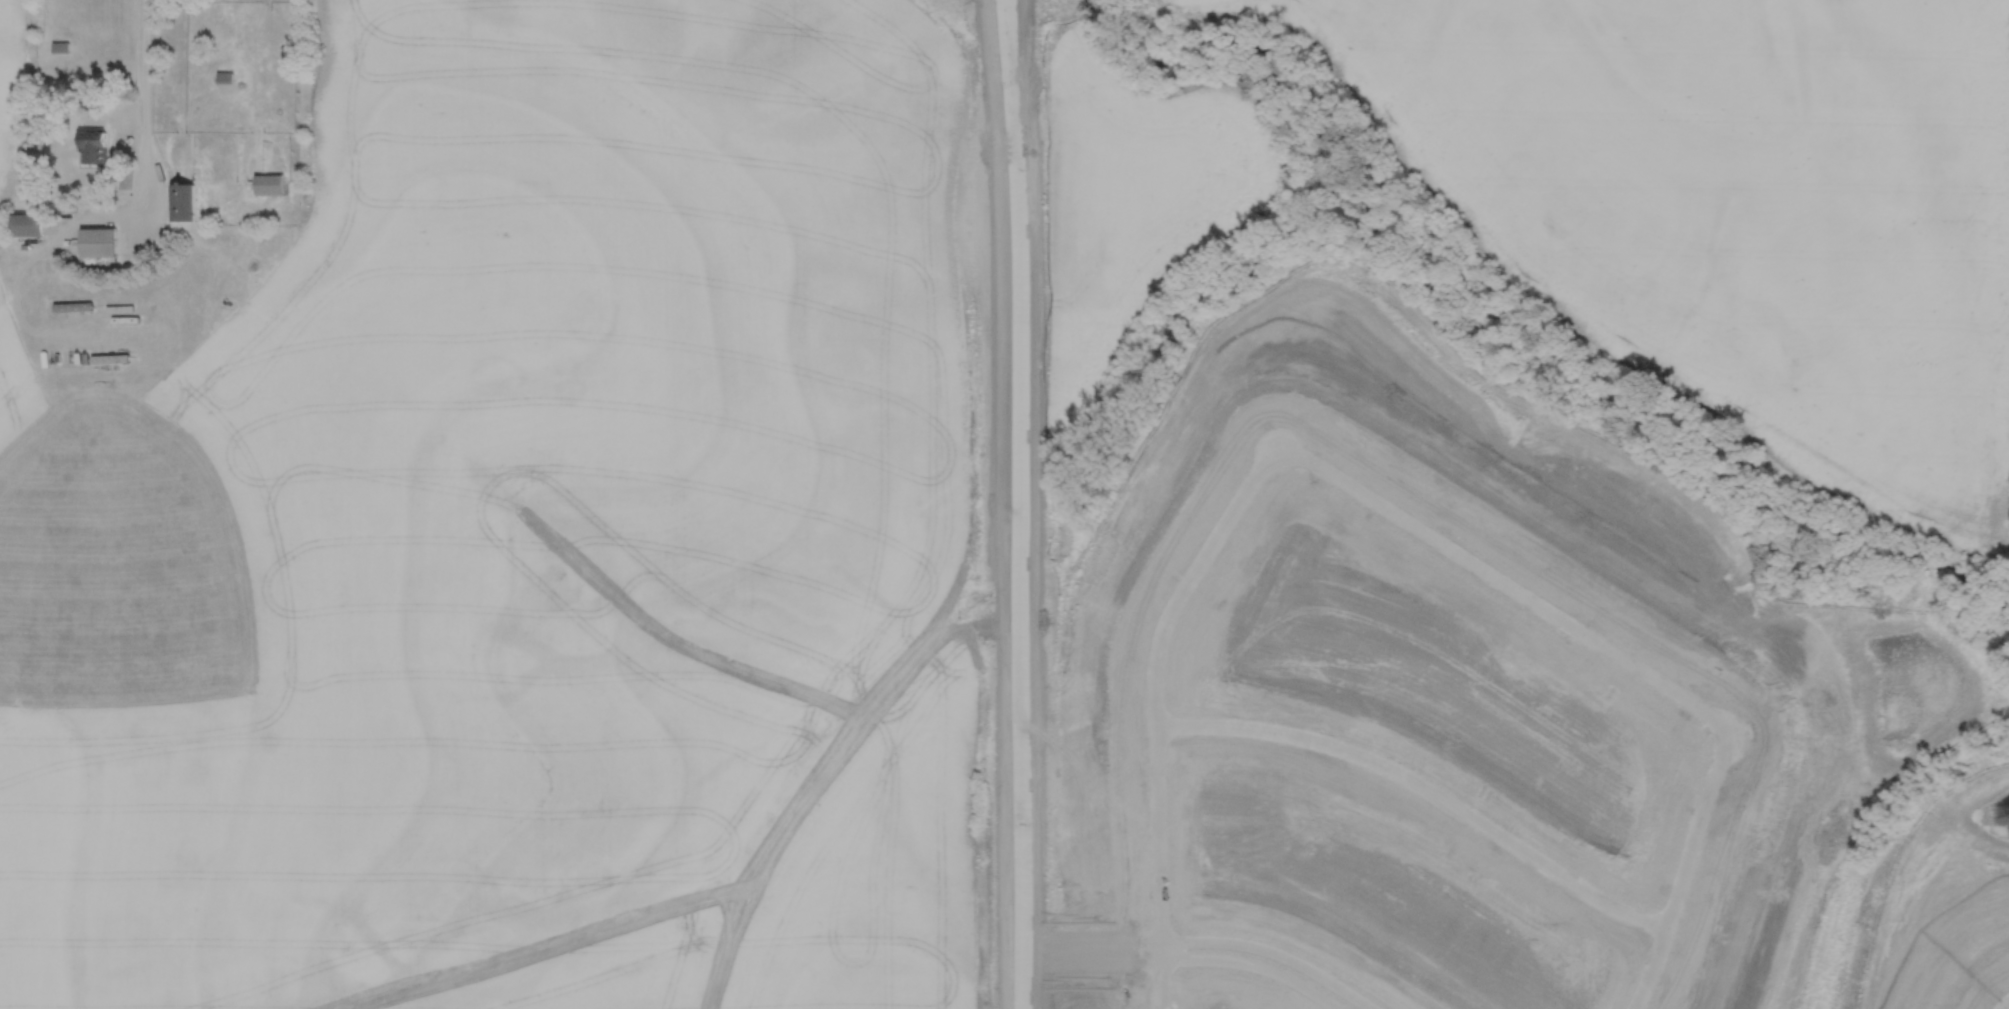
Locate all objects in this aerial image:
building: (59, 45)
crop: (15, 73)
building: (223, 75)
building: (93, 145)
building: (268, 182)
building: (181, 201)
crop: (1737, 211)
crop: (1109, 213)
road: (88, 215)
building: (27, 224)
building: (98, 241)
building: (72, 305)
building: (108, 358)
road: (1013, 504)
crop: (536, 545)
road: (1506, 578)
road: (1154, 705)
road: (1423, 786)
road: (1684, 865)
road: (1204, 938)
road: (1186, 956)
road: (2004, 1004)

